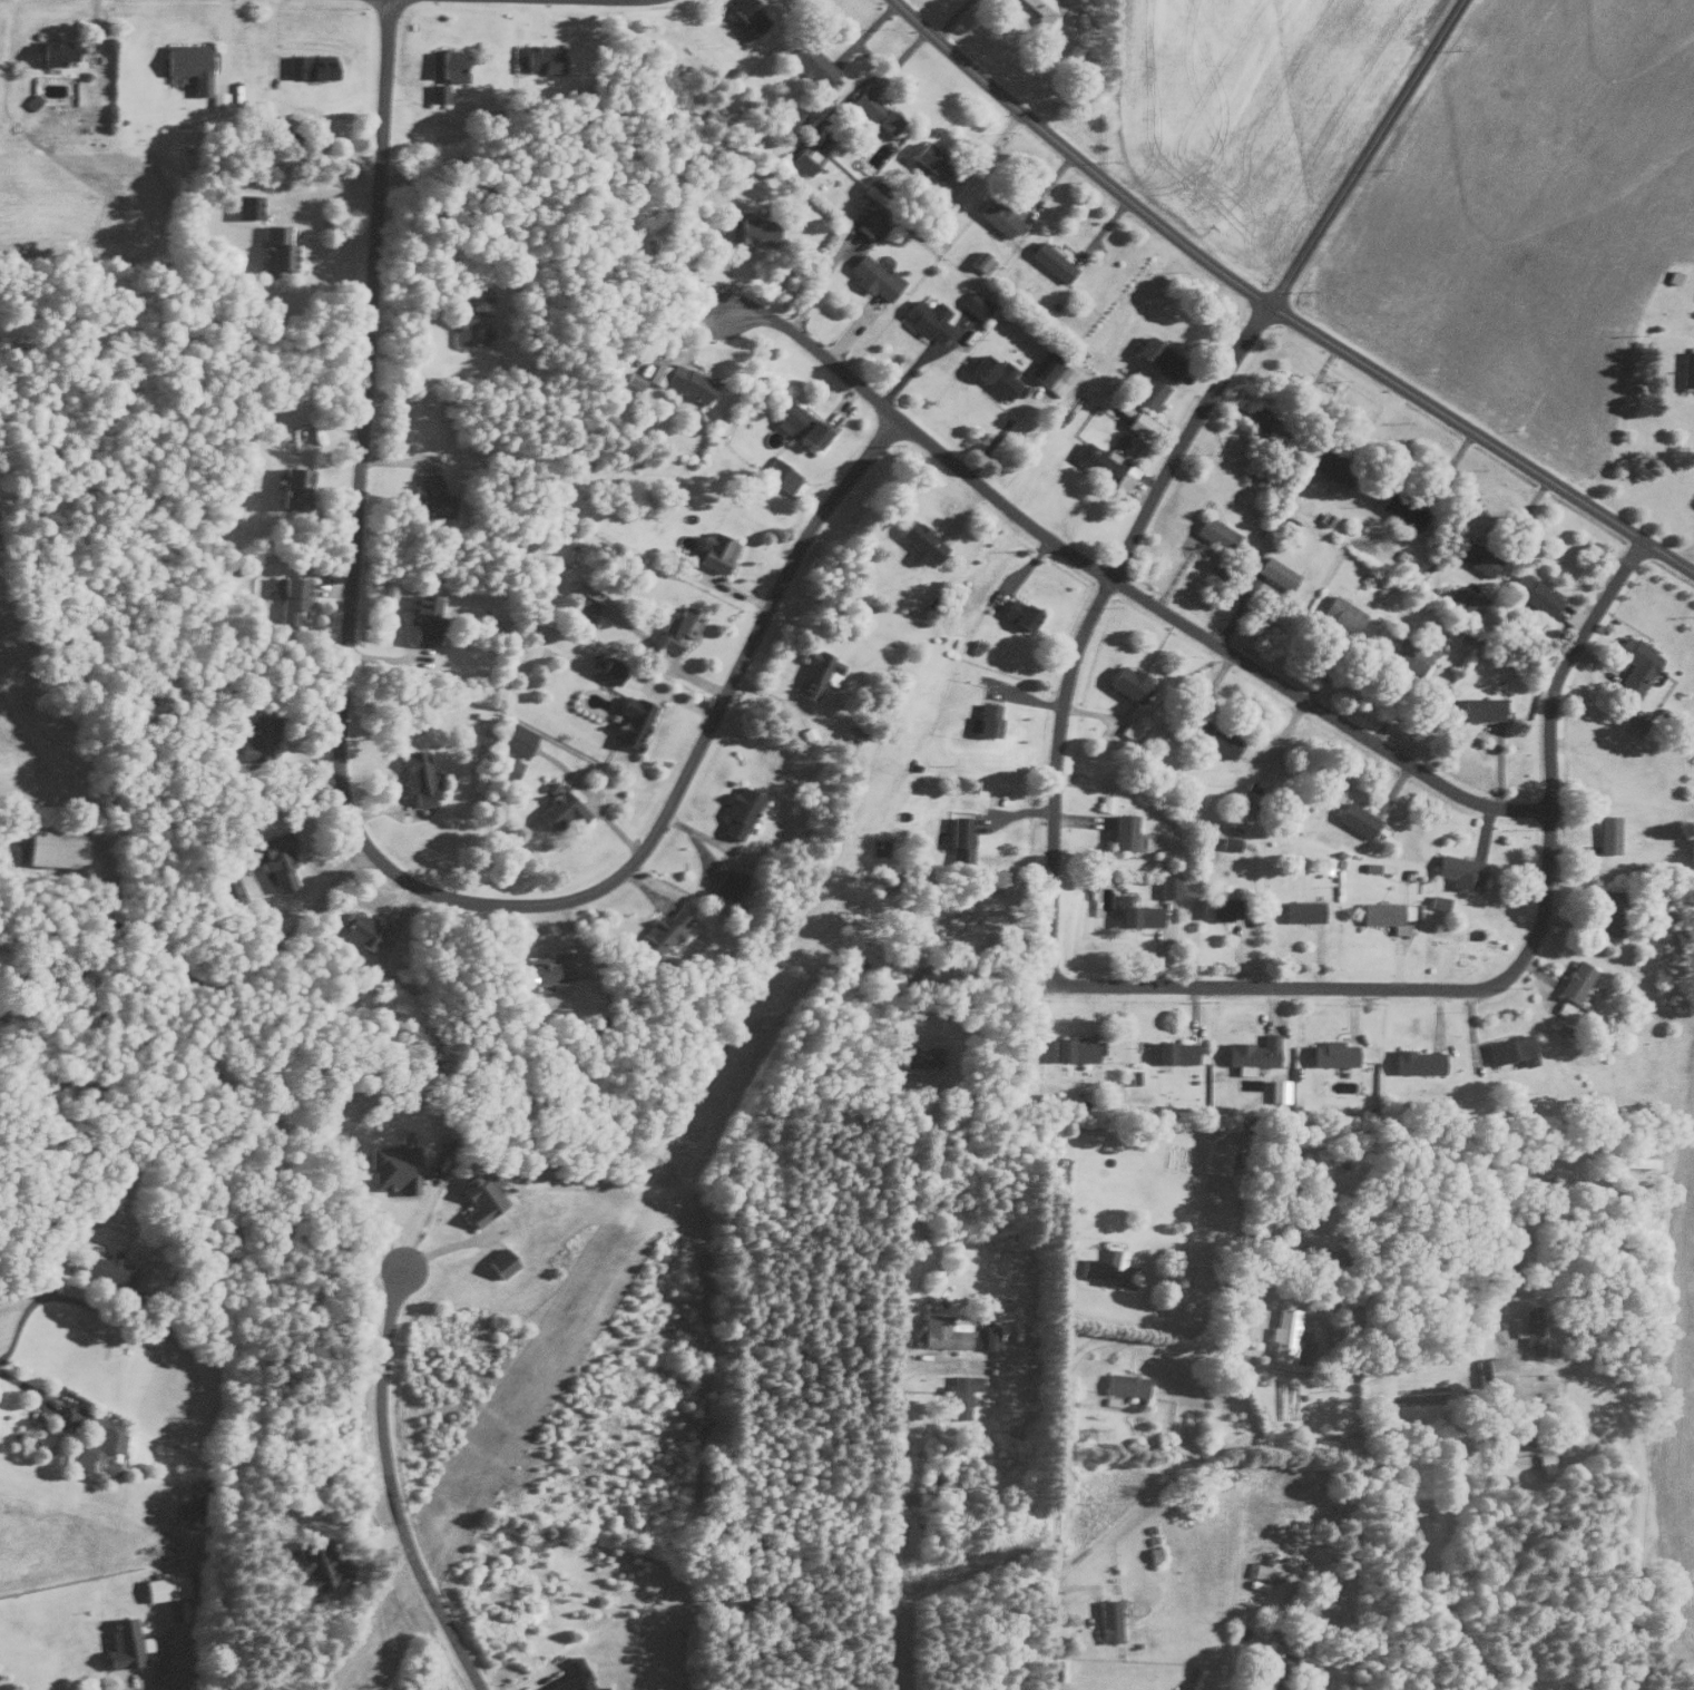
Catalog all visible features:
building: (1046, 11)
building: (746, 19)
road: (950, 19)
building: (51, 51)
building: (538, 57)
building: (810, 61)
building: (187, 64)
building: (306, 65)
building: (442, 71)
road: (875, 76)
road: (1100, 89)
building: (872, 109)
building: (790, 116)
road: (983, 152)
road: (1362, 152)
building: (802, 157)
building: (927, 159)
building: (246, 205)
building: (995, 215)
building: (871, 222)
building: (748, 227)
building: (274, 247)
building: (1049, 260)
building: (980, 262)
building: (873, 276)
building: (975, 303)
road: (1276, 310)
building: (924, 318)
building: (470, 330)
building: (1158, 355)
building: (1044, 367)
building: (1686, 370)
building: (992, 374)
building: (631, 379)
building: (678, 379)
building: (1059, 380)
building: (1146, 387)
building: (795, 422)
building: (1264, 422)
building: (1329, 462)
building: (779, 475)
building: (292, 486)
building: (429, 496)
building: (1400, 509)
building: (1290, 522)
building: (1213, 531)
building: (920, 539)
building: (712, 550)
building: (1476, 558)
road: (1690, 558)
building: (1274, 572)
road: (1122, 587)
building: (1534, 593)
building: (585, 596)
building: (291, 598)
building: (1461, 598)
building: (1017, 613)
building: (1341, 613)
building: (581, 616)
building: (421, 619)
road: (1087, 619)
building: (676, 627)
building: (1408, 653)
building: (593, 658)
building: (1633, 667)
building: (607, 668)
building: (813, 673)
building: (1126, 682)
building: (1481, 707)
building: (982, 720)
building: (1632, 720)
building: (631, 721)
building: (1128, 729)
building: (806, 734)
building: (256, 737)
building: (516, 739)
building: (1218, 740)
building: (505, 768)
building: (415, 776)
building: (1106, 802)
building: (559, 810)
building: (737, 811)
building: (1355, 819)
road: (356, 830)
building: (1122, 831)
building: (1606, 833)
building: (959, 839)
building: (1227, 842)
building: (55, 844)
building: (275, 859)
building: (1375, 867)
building: (1458, 871)
building: (244, 882)
building: (724, 886)
building: (1168, 886)
building: (1437, 901)
building: (1217, 908)
building: (1301, 910)
building: (1608, 910)
building: (1136, 912)
building: (1385, 915)
building: (358, 930)
building: (662, 930)
building: (548, 969)
road: (1510, 969)
road: (226, 980)
building: (1574, 980)
building: (1563, 1009)
building: (1073, 1049)
building: (1510, 1049)
building: (1173, 1052)
building: (1252, 1052)
building: (1332, 1054)
building: (1416, 1062)
building: (1132, 1078)
building: (1276, 1090)
building: (1214, 1157)
building: (391, 1168)
building: (480, 1196)
building: (499, 1262)
building: (1499, 1267)
building: (105, 1268)
building: (1106, 1272)
road: (27, 1307)
building: (1528, 1328)
building: (940, 1332)
building: (1285, 1336)
building: (989, 1337)
road: (1506, 1339)
road: (1135, 1340)
building: (1489, 1371)
building: (1124, 1385)
road: (27, 1386)
building: (958, 1394)
road: (1631, 1415)
building: (95, 1444)
building: (1544, 1461)
road: (1224, 1464)
road: (390, 1488)
road: (890, 1514)
road: (1055, 1532)
building: (319, 1564)
building: (1255, 1570)
building: (163, 1588)
building: (1108, 1619)
building: (120, 1643)
building: (571, 1676)
building: (1269, 1676)

